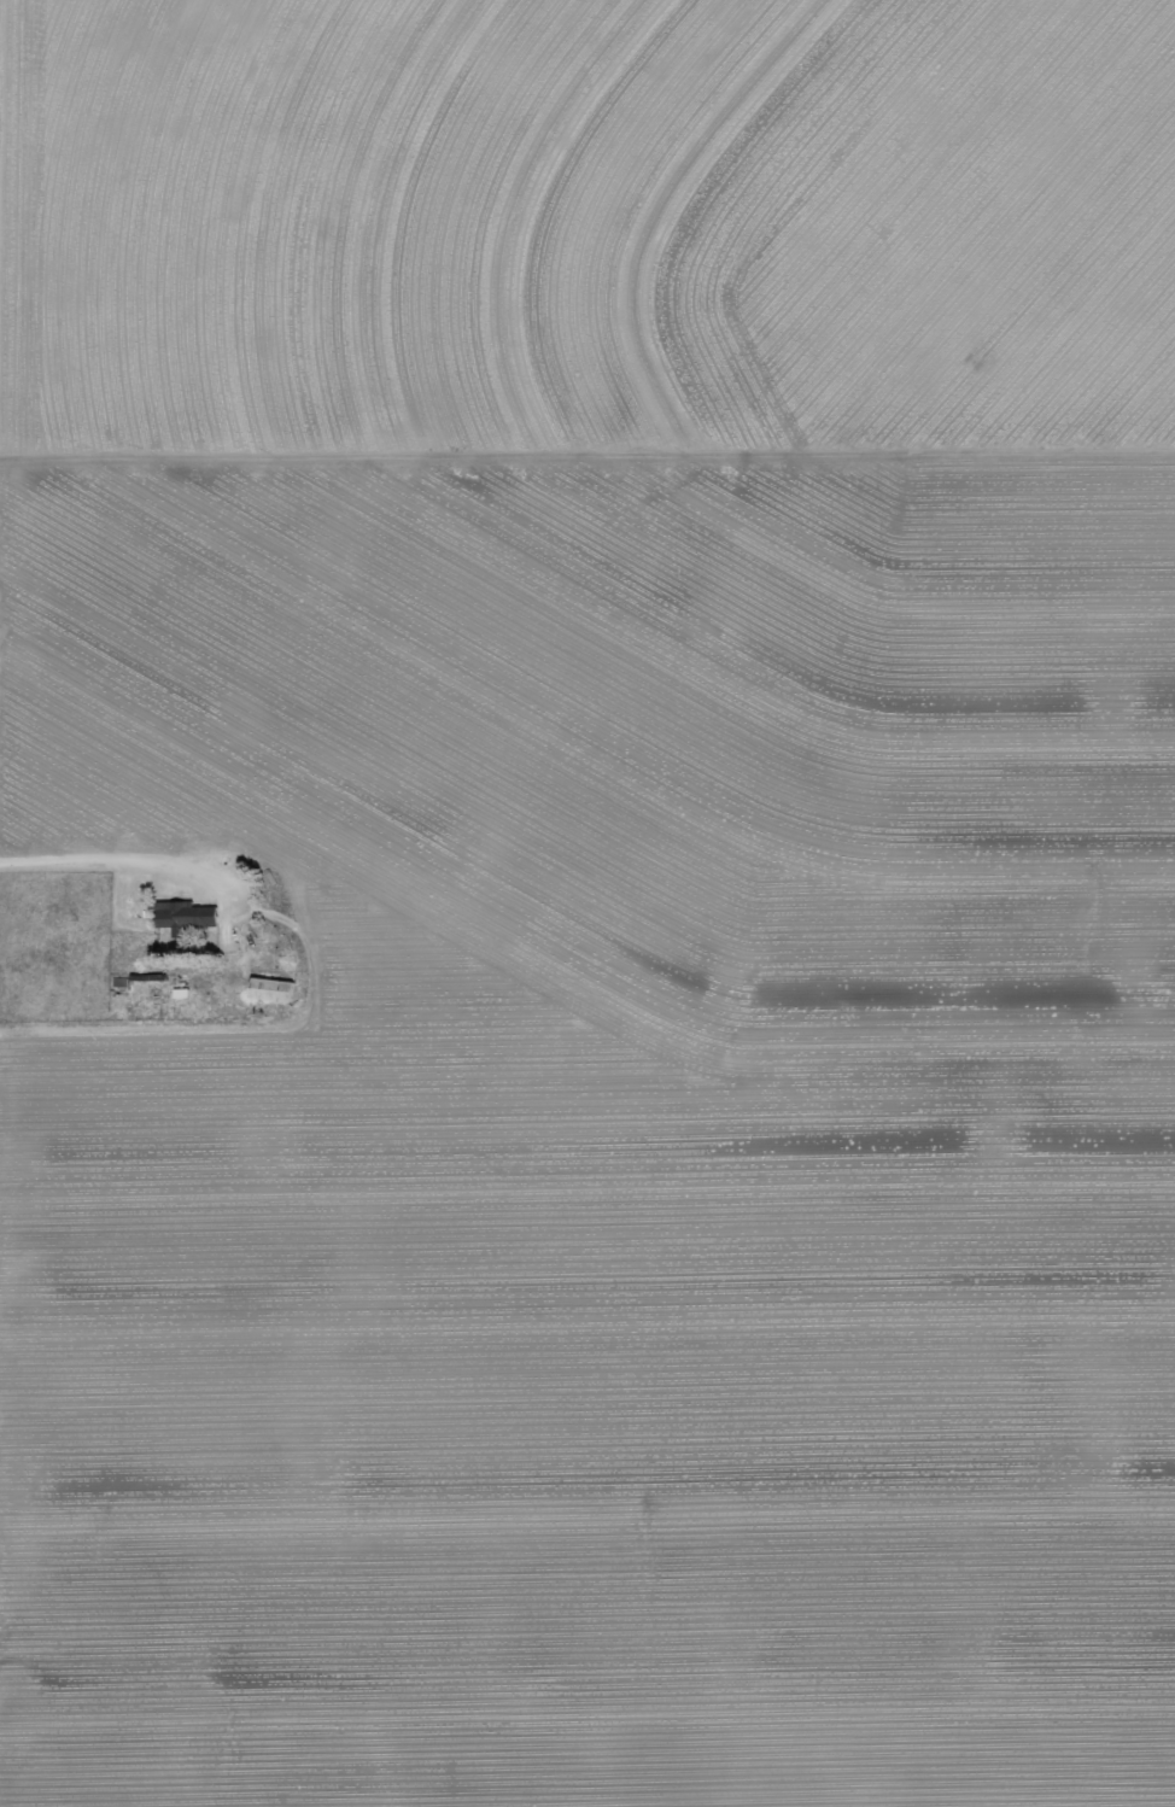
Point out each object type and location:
road: (587, 456)
road: (118, 865)
building: (268, 989)

